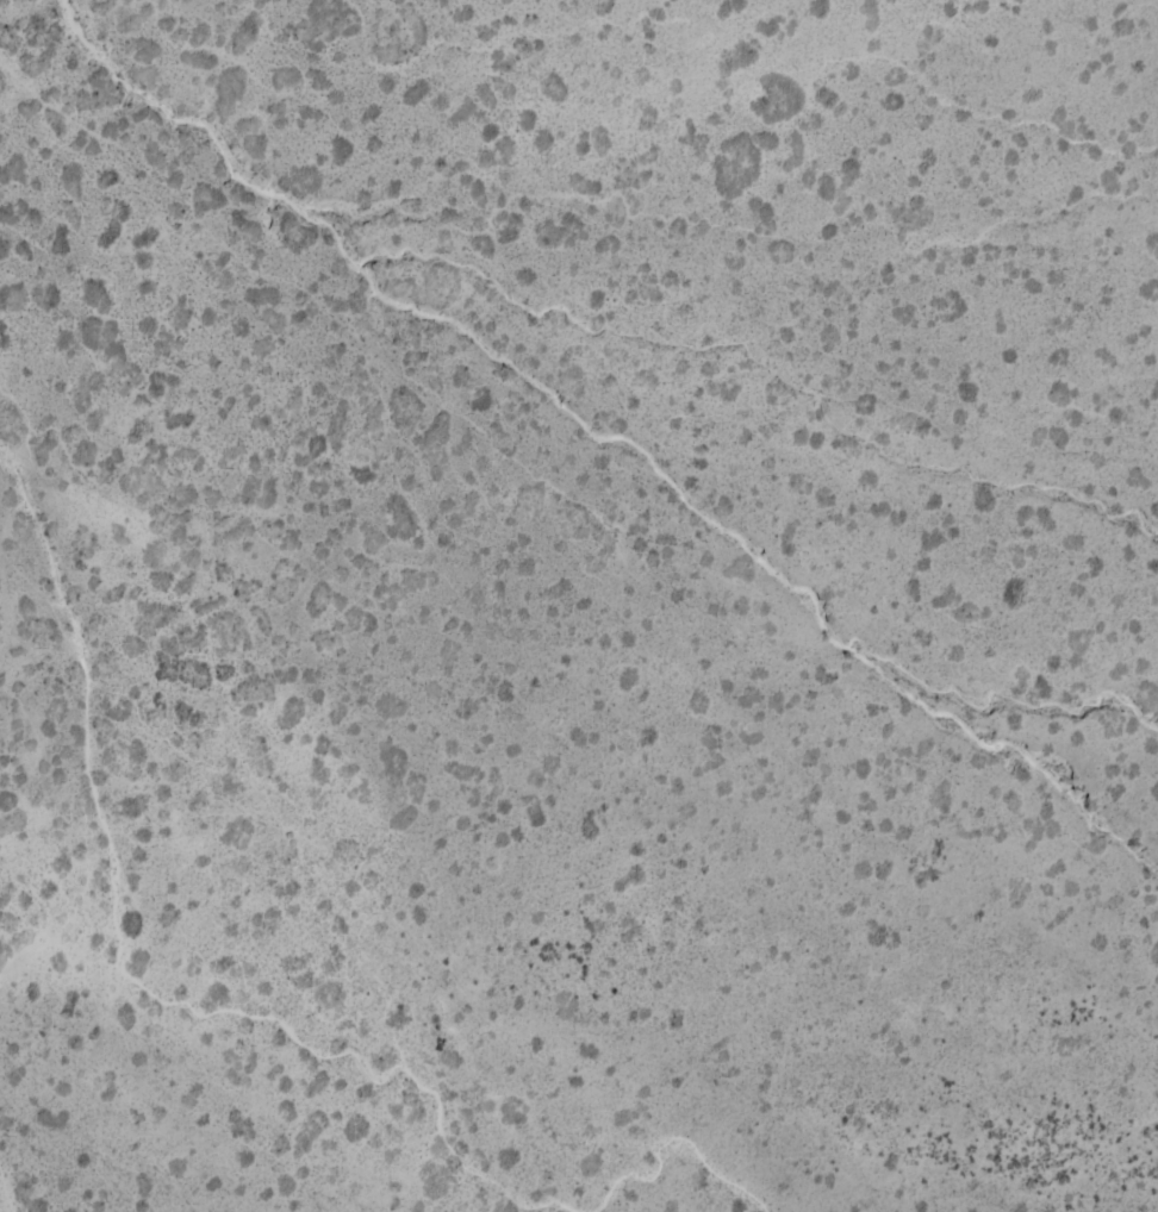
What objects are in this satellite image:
road: (2, 1174)
road: (10, 1198)

